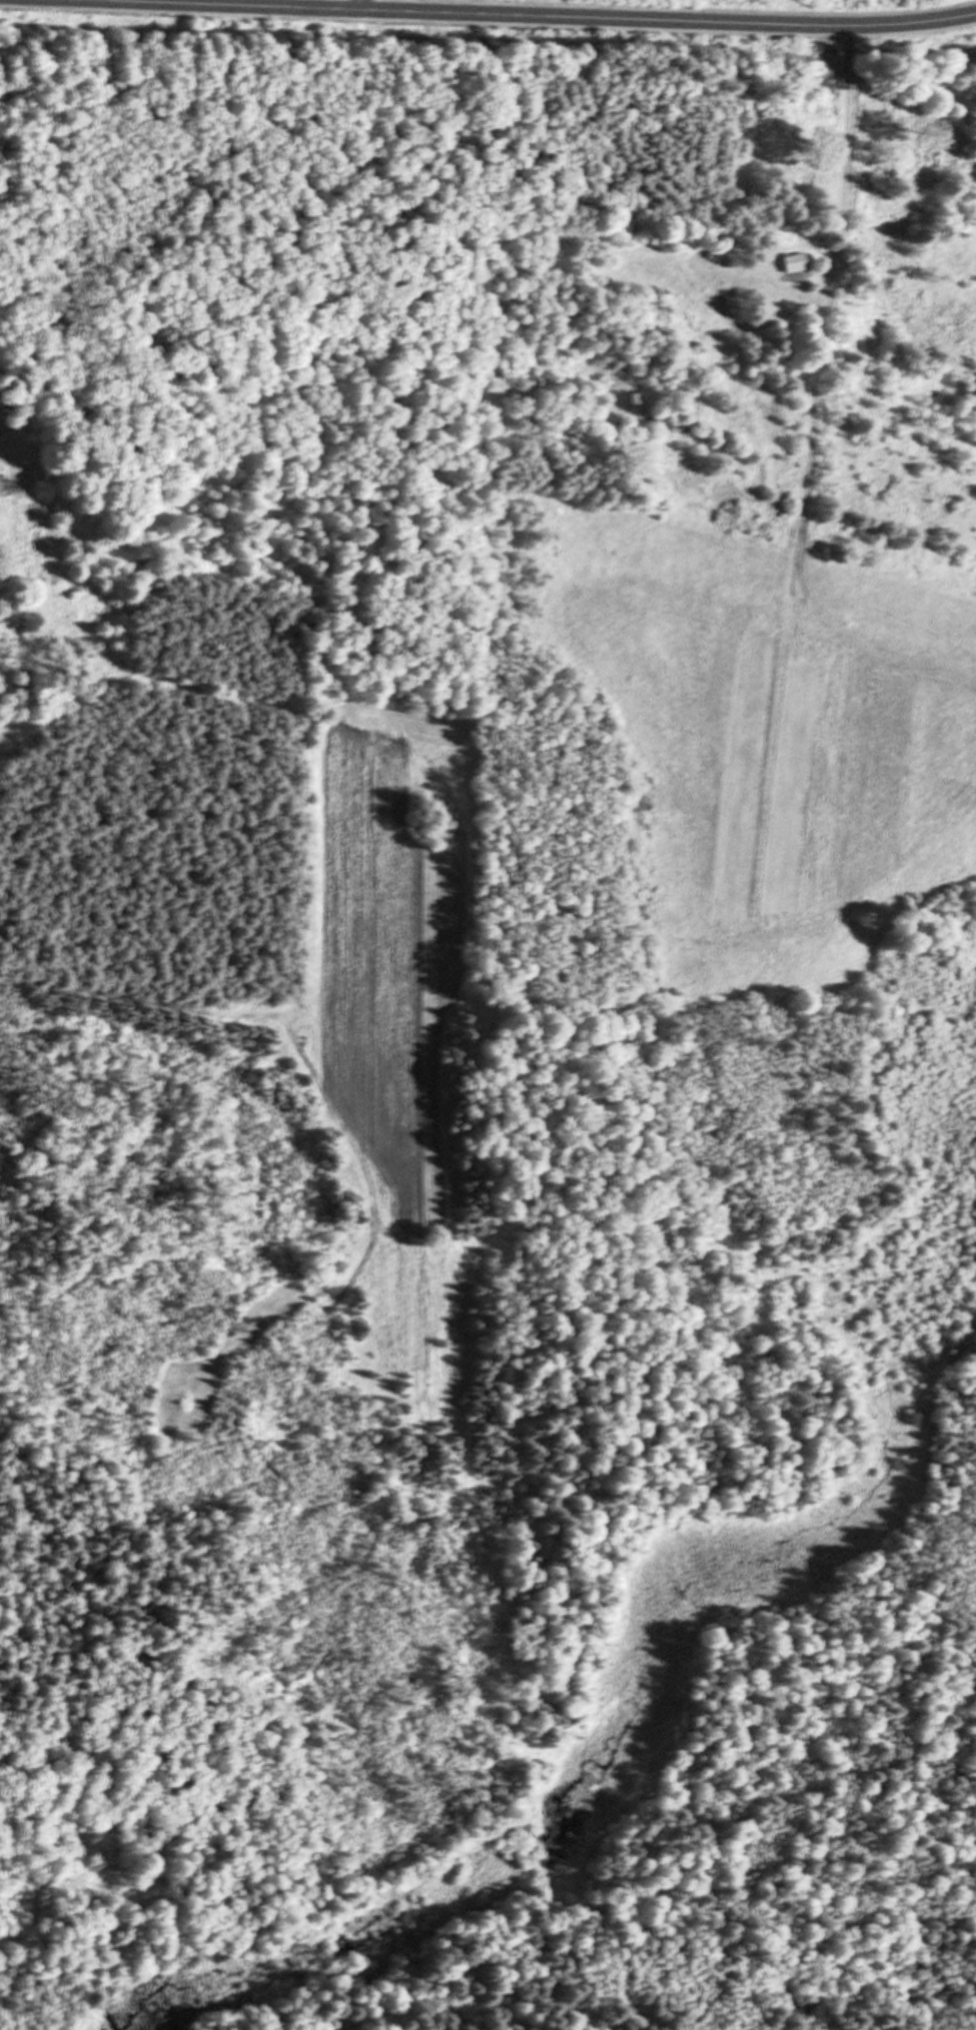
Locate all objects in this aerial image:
road: (364, 4)
road: (549, 16)

